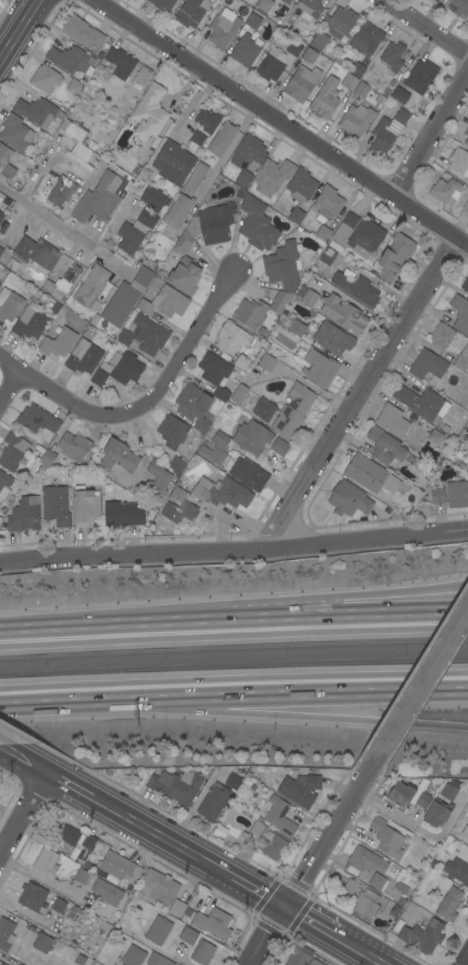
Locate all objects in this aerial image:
building: (291, 0)
building: (435, 0)
building: (285, 1)
building: (162, 3)
building: (263, 6)
building: (457, 7)
building: (309, 9)
building: (188, 13)
building: (254, 19)
building: (340, 22)
road: (426, 27)
road: (18, 28)
building: (222, 30)
building: (82, 33)
building: (365, 39)
building: (318, 41)
building: (294, 48)
building: (244, 50)
building: (308, 55)
building: (392, 56)
building: (71, 60)
building: (118, 63)
building: (271, 64)
building: (357, 70)
building: (420, 76)
building: (141, 77)
building: (45, 79)
building: (349, 82)
building: (301, 83)
building: (74, 87)
building: (361, 89)
building: (400, 94)
building: (325, 98)
building: (36, 112)
building: (149, 114)
building: (355, 119)
building: (207, 120)
road: (277, 127)
building: (387, 131)
building: (15, 133)
road: (430, 136)
building: (466, 136)
building: (197, 138)
building: (222, 139)
building: (77, 143)
building: (248, 151)
building: (4, 155)
building: (173, 161)
building: (459, 162)
road: (216, 169)
building: (8, 172)
building: (272, 176)
building: (195, 178)
building: (243, 178)
building: (301, 185)
building: (445, 190)
building: (61, 191)
building: (153, 198)
building: (98, 199)
building: (327, 203)
building: (465, 209)
building: (177, 210)
building: (1, 216)
building: (296, 216)
building: (147, 219)
building: (256, 222)
building: (206, 227)
road: (66, 229)
building: (322, 233)
building: (357, 236)
building: (129, 238)
building: (1, 250)
building: (36, 252)
building: (327, 256)
building: (394, 256)
building: (282, 272)
building: (184, 275)
building: (62, 280)
building: (465, 283)
building: (90, 285)
building: (356, 288)
building: (125, 297)
building: (309, 298)
building: (164, 302)
building: (9, 304)
building: (250, 313)
building: (343, 314)
building: (460, 314)
building: (30, 322)
building: (295, 327)
building: (144, 335)
building: (441, 335)
building: (231, 338)
building: (332, 338)
building: (58, 342)
building: (83, 357)
building: (448, 357)
building: (462, 359)
building: (241, 362)
building: (266, 363)
building: (427, 364)
building: (125, 367)
building: (319, 368)
building: (100, 374)
building: (215, 374)
road: (365, 390)
road: (12, 394)
building: (239, 394)
road: (143, 401)
building: (421, 402)
building: (193, 405)
building: (263, 409)
building: (293, 410)
building: (37, 419)
building: (392, 420)
building: (467, 429)
building: (172, 431)
building: (435, 436)
building: (251, 437)
building: (219, 439)
building: (73, 446)
building: (279, 447)
building: (387, 447)
building: (467, 450)
building: (12, 451)
building: (212, 454)
building: (118, 456)
building: (47, 458)
building: (176, 465)
building: (248, 474)
building: (373, 475)
building: (158, 477)
building: (4, 484)
building: (222, 492)
building: (457, 494)
building: (177, 495)
building: (437, 496)
building: (349, 500)
building: (55, 506)
building: (84, 506)
building: (187, 510)
building: (24, 514)
building: (121, 514)
road: (234, 542)
road: (391, 595)
road: (392, 616)
road: (248, 622)
road: (89, 630)
railway: (233, 648)
railway: (233, 664)
road: (424, 681)
road: (295, 688)
road: (62, 699)
road: (295, 718)
road: (0, 742)
road: (26, 757)
building: (233, 781)
building: (175, 786)
road: (76, 787)
building: (300, 789)
building: (450, 790)
building: (401, 794)
building: (423, 800)
building: (213, 802)
building: (437, 813)
road: (25, 815)
building: (279, 816)
road: (333, 831)
building: (465, 831)
building: (68, 835)
building: (386, 837)
road: (164, 838)
building: (264, 841)
building: (89, 842)
building: (365, 861)
building: (45, 863)
building: (116, 865)
building: (457, 871)
building: (81, 876)
road: (42, 880)
building: (351, 886)
building: (387, 886)
building: (158, 887)
building: (106, 892)
road: (256, 892)
building: (31, 896)
building: (366, 903)
building: (449, 904)
building: (57, 905)
building: (176, 908)
building: (213, 923)
road: (311, 923)
building: (158, 930)
building: (6, 934)
building: (188, 935)
building: (422, 936)
road: (269, 937)
building: (42, 942)
road: (357, 950)
building: (201, 952)
building: (132, 956)
building: (301, 957)
building: (79, 959)
building: (158, 960)
road: (466, 961)
road: (380, 963)
building: (1, 964)

